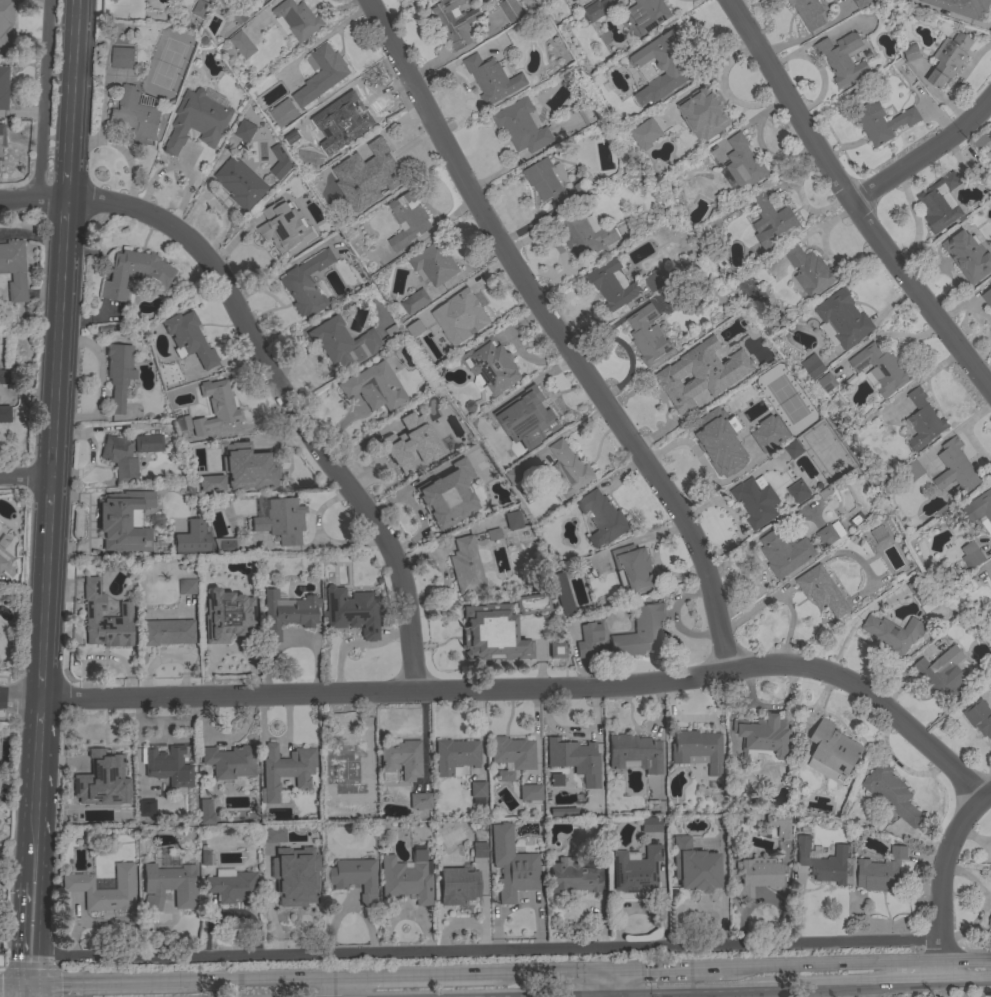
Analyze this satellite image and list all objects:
building: (861, 3)
building: (962, 7)
building: (201, 9)
building: (510, 9)
building: (593, 12)
building: (808, 13)
building: (242, 14)
building: (648, 14)
building: (298, 19)
building: (455, 22)
building: (5, 24)
building: (242, 45)
building: (911, 53)
building: (122, 58)
building: (842, 58)
building: (949, 59)
building: (664, 65)
road: (71, 68)
building: (321, 74)
building: (492, 78)
building: (3, 87)
road: (41, 99)
building: (703, 112)
building: (284, 113)
building: (135, 116)
building: (348, 120)
building: (197, 121)
building: (882, 122)
building: (521, 126)
building: (245, 131)
building: (645, 133)
building: (1, 137)
building: (980, 142)
road: (924, 153)
building: (987, 159)
building: (279, 162)
building: (743, 163)
road: (65, 164)
building: (380, 172)
building: (548, 181)
building: (241, 184)
building: (583, 189)
road: (847, 201)
building: (940, 203)
building: (407, 220)
road: (62, 222)
building: (769, 223)
building: (284, 227)
building: (584, 234)
building: (967, 256)
building: (434, 264)
building: (13, 270)
building: (809, 271)
building: (135, 273)
building: (657, 281)
building: (306, 284)
building: (611, 284)
building: (990, 285)
building: (987, 298)
building: (415, 302)
building: (463, 319)
building: (842, 320)
building: (418, 328)
road: (556, 333)
building: (647, 336)
building: (188, 339)
building: (343, 342)
road: (55, 364)
building: (491, 365)
building: (813, 366)
building: (880, 369)
building: (118, 374)
road: (270, 374)
building: (3, 377)
building: (725, 379)
building: (827, 383)
building: (680, 384)
building: (374, 387)
building: (216, 408)
building: (4, 414)
building: (923, 421)
building: (182, 423)
building: (532, 423)
building: (769, 433)
building: (460, 441)
building: (720, 441)
building: (148, 443)
building: (405, 446)
building: (793, 449)
building: (120, 458)
building: (247, 467)
building: (569, 469)
building: (955, 470)
building: (913, 471)
building: (513, 475)
road: (24, 478)
building: (210, 483)
building: (190, 491)
building: (798, 492)
building: (448, 495)
building: (756, 501)
road: (48, 505)
building: (981, 506)
building: (602, 518)
building: (281, 520)
building: (513, 520)
building: (124, 521)
building: (493, 534)
building: (879, 534)
building: (829, 536)
building: (193, 539)
building: (224, 544)
building: (784, 553)
building: (971, 555)
building: (2, 562)
building: (465, 566)
building: (633, 569)
building: (185, 587)
road: (44, 588)
building: (822, 591)
building: (561, 592)
building: (922, 595)
building: (531, 603)
building: (351, 611)
building: (287, 613)
building: (226, 616)
building: (105, 618)
building: (641, 631)
building: (167, 632)
building: (492, 633)
building: (893, 633)
building: (587, 639)
road: (354, 644)
building: (556, 650)
road: (41, 671)
building: (943, 674)
road: (543, 691)
road: (3, 695)
road: (23, 697)
road: (3, 698)
building: (979, 718)
building: (764, 737)
building: (697, 749)
building: (512, 752)
building: (634, 752)
building: (832, 753)
building: (455, 756)
building: (402, 758)
building: (574, 759)
building: (344, 760)
building: (229, 761)
road: (37, 762)
building: (167, 766)
building: (104, 769)
building: (286, 769)
building: (504, 776)
building: (554, 781)
building: (477, 792)
building: (530, 792)
building: (890, 793)
building: (419, 801)
building: (366, 805)
building: (146, 808)
building: (205, 812)
building: (562, 812)
building: (650, 824)
building: (779, 825)
building: (272, 835)
building: (479, 849)
building: (270, 851)
building: (597, 856)
road: (34, 858)
building: (206, 858)
building: (823, 862)
building: (512, 864)
building: (694, 867)
building: (636, 871)
building: (880, 872)
building: (407, 877)
building: (571, 877)
building: (756, 877)
building: (354, 878)
building: (78, 882)
building: (231, 885)
building: (169, 886)
building: (457, 886)
road: (940, 889)
building: (296, 893)
building: (989, 921)
road: (31, 923)
road: (484, 951)
building: (1, 961)
road: (855, 966)
road: (29, 971)
road: (666, 971)
traffic signals: (611, 973)
road: (541, 974)
road: (406, 977)
road: (260, 980)
road: (602, 983)
road: (619, 983)
road: (104, 984)
road: (965, 984)
road: (915, 985)
road: (14, 986)
traffic signals: (29, 986)
road: (340, 987)
road: (759, 990)
road: (26, 991)
road: (32, 991)
traffic signals: (594, 994)
road: (610, 994)
traffic signals: (627, 994)
road: (542, 995)
road: (593, 995)
road: (627, 995)
road: (472, 996)
road: (519, 996)

